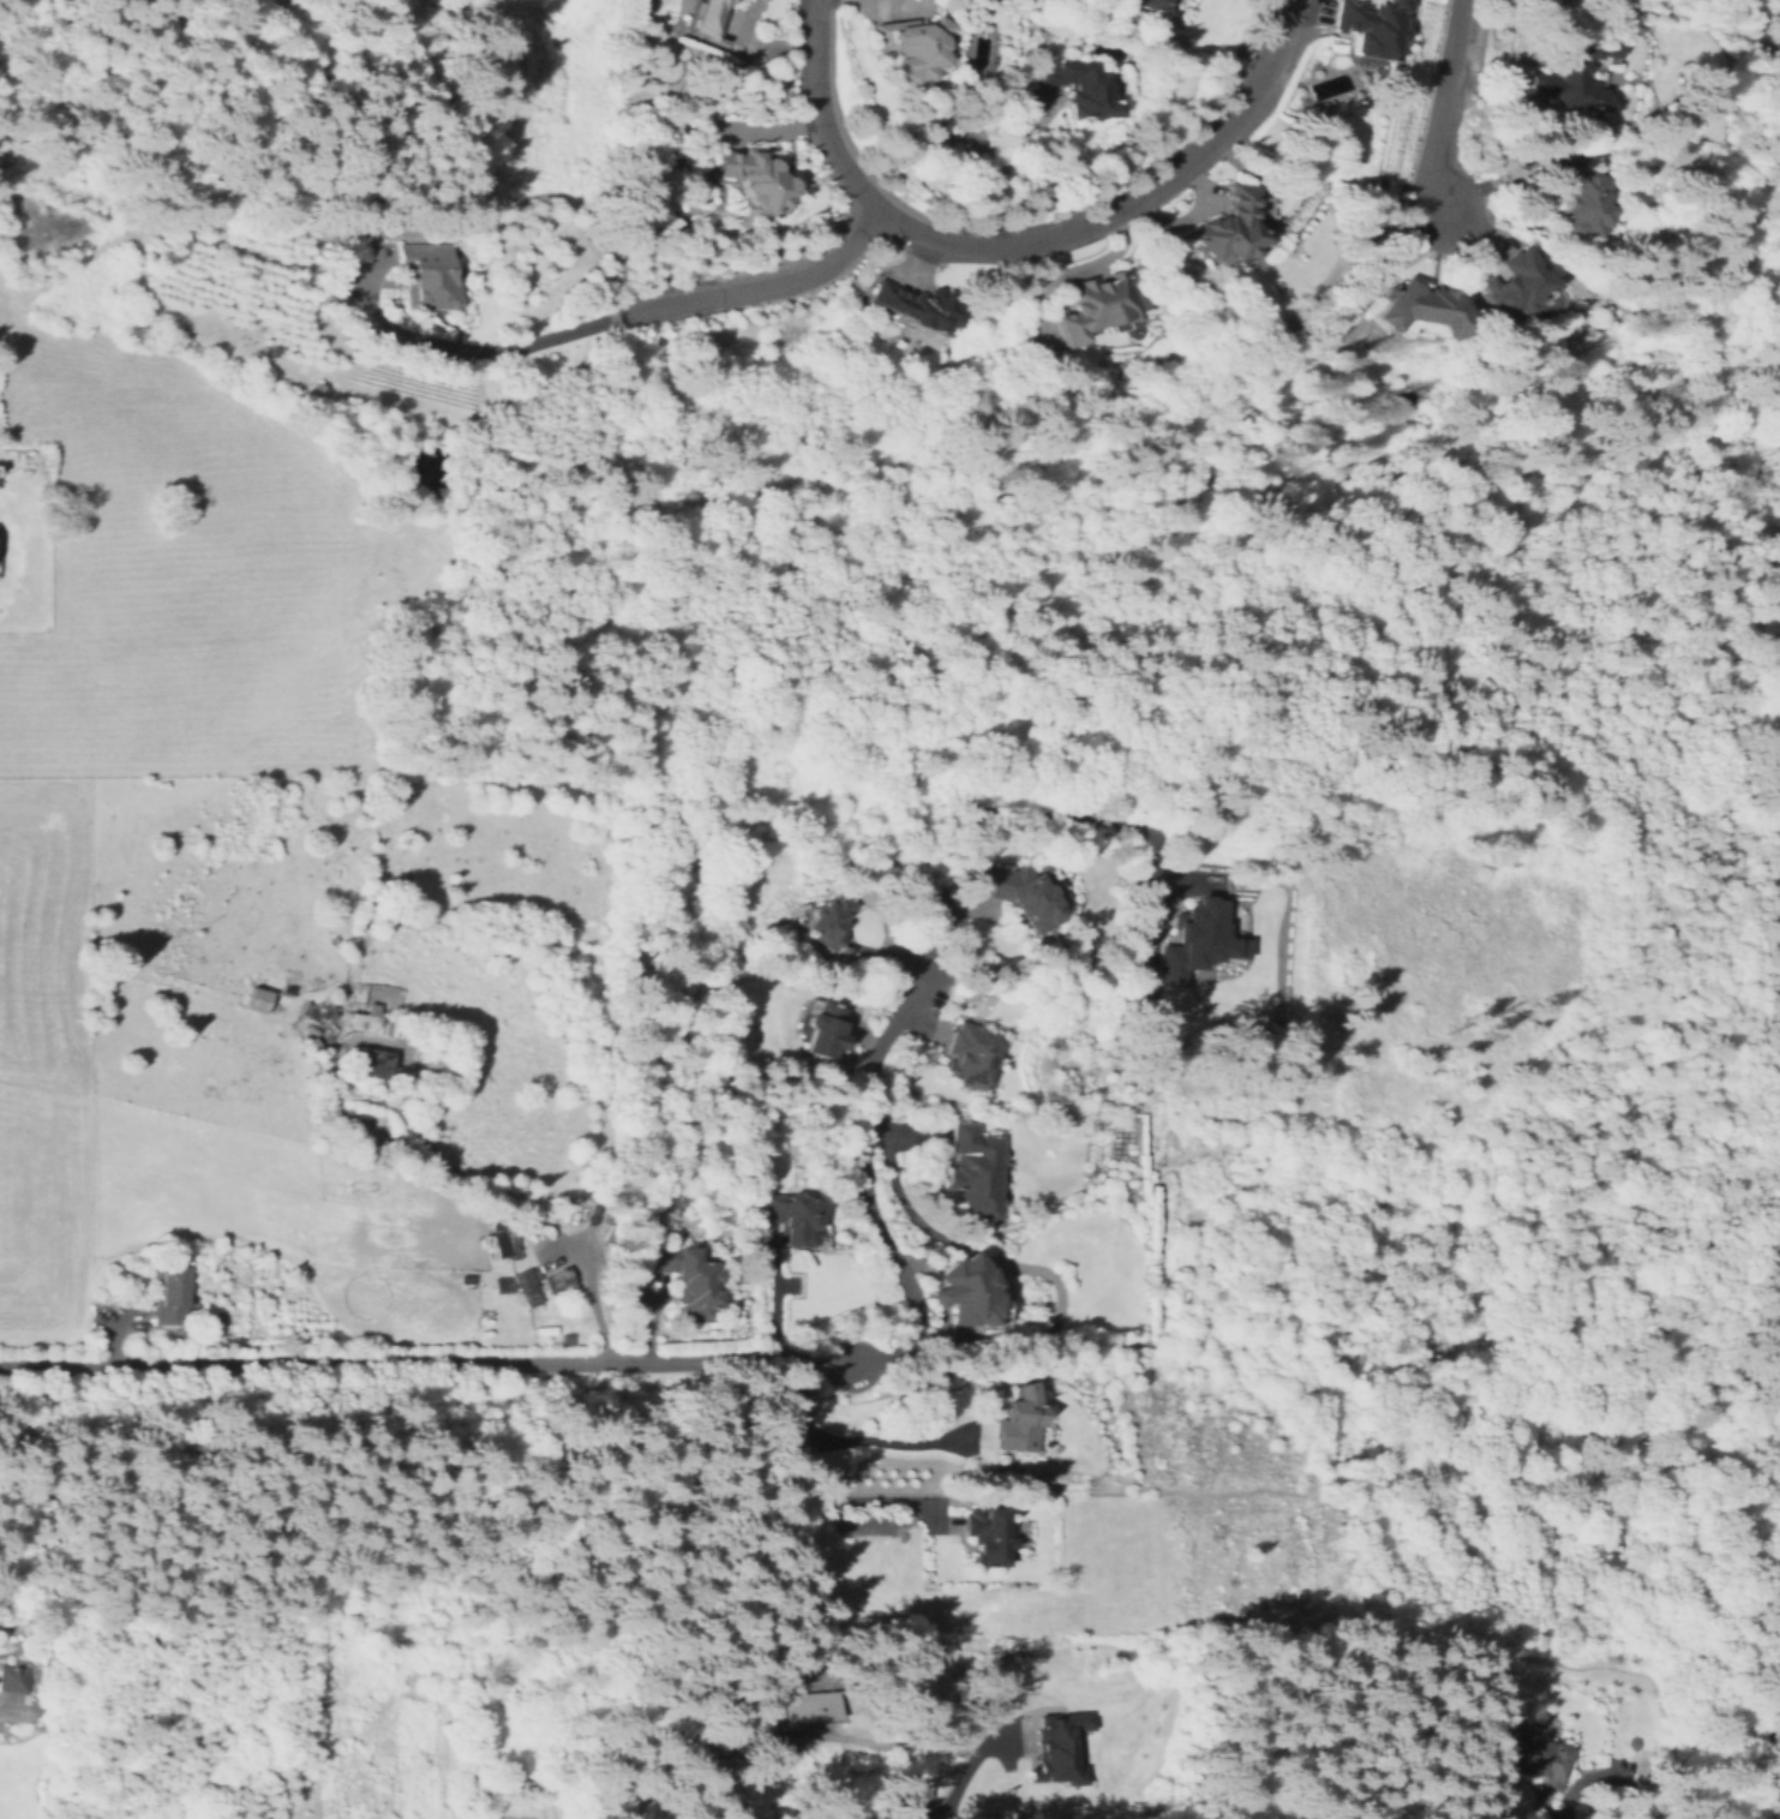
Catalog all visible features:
building: (1149, 4)
building: (705, 16)
building: (1370, 26)
building: (912, 46)
building: (1575, 73)
building: (1078, 88)
road: (1443, 109)
road: (995, 168)
building: (753, 178)
building: (1378, 184)
building: (1576, 198)
building: (1228, 228)
road: (1027, 244)
building: (428, 275)
road: (1776, 277)
building: (1518, 289)
building: (1092, 306)
road: (660, 309)
building: (917, 309)
building: (1419, 312)
crop: (180, 574)
road: (988, 816)
building: (1014, 894)
building: (827, 921)
building: (1194, 940)
building: (1779, 993)
building: (260, 999)
building: (317, 1011)
building: (1779, 1013)
building: (366, 1022)
building: (822, 1031)
building: (971, 1057)
crop: (43, 1063)
building: (436, 1063)
building: (373, 1065)
building: (977, 1169)
road: (864, 1185)
building: (792, 1219)
building: (496, 1244)
building: (1775, 1249)
building: (685, 1280)
building: (556, 1281)
building: (527, 1286)
building: (971, 1292)
building: (170, 1300)
road: (588, 1300)
road: (425, 1363)
building: (1018, 1422)
road: (886, 1441)
road: (814, 1490)
building: (1006, 1526)
building: (985, 1536)
building: (16, 1677)
building: (433, 1679)
road: (2, 1705)
building: (837, 1705)
building: (804, 1706)
building: (1062, 1748)
building: (1533, 1752)
building: (1496, 1773)
road: (958, 1783)
road: (1628, 1783)

